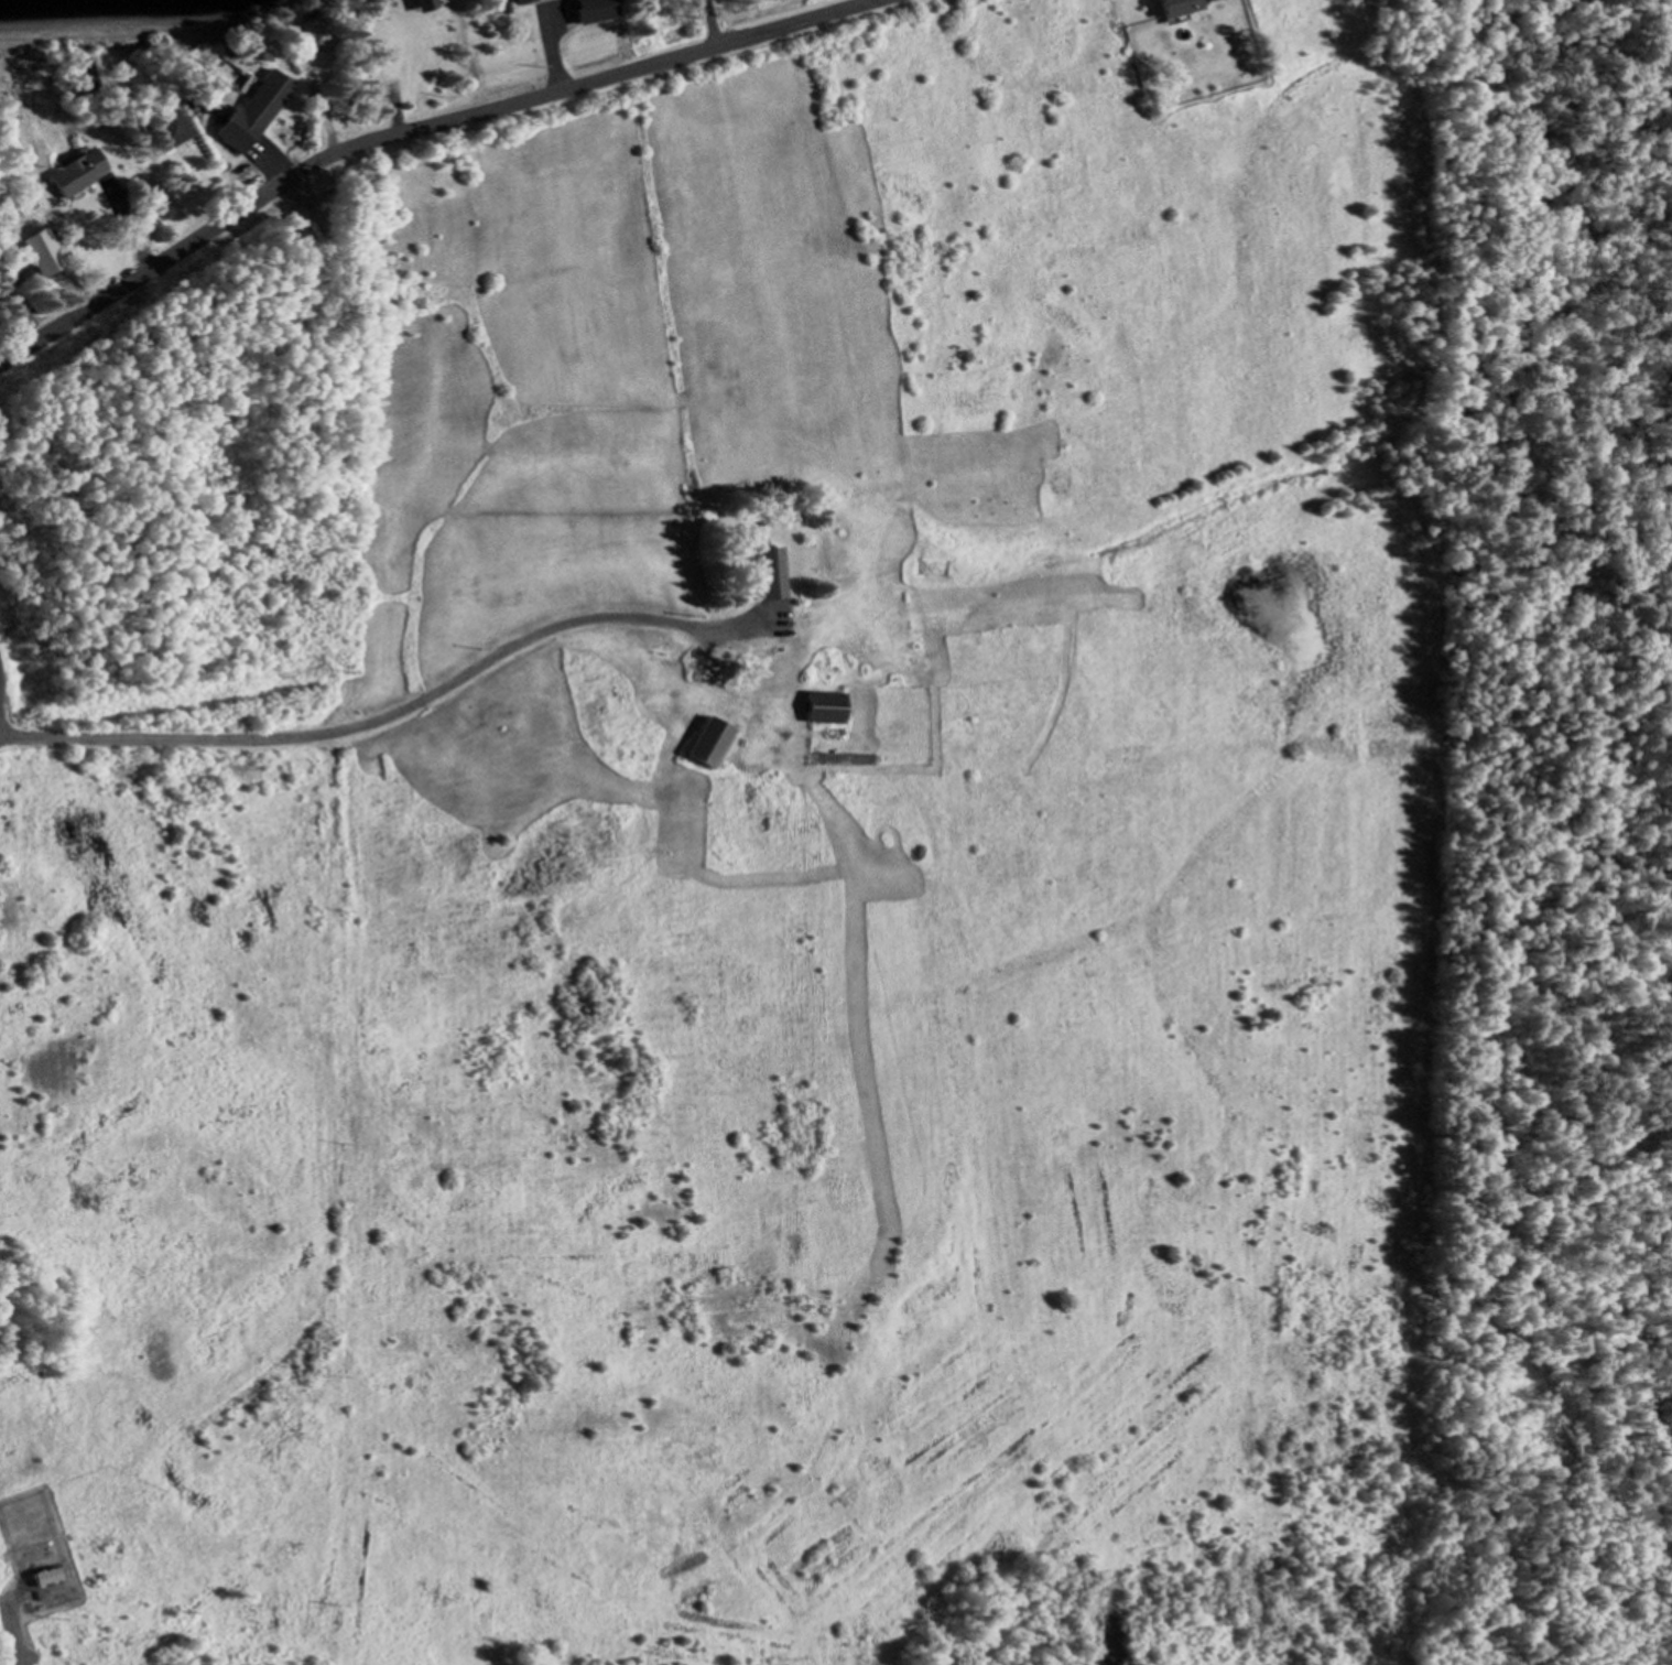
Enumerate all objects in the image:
building: (517, 1)
building: (417, 4)
building: (1175, 7)
building: (591, 10)
building: (313, 31)
building: (82, 77)
building: (250, 108)
building: (166, 128)
road: (411, 131)
building: (73, 170)
building: (31, 251)
building: (41, 267)
building: (772, 571)
building: (824, 706)
road: (394, 711)
building: (709, 739)
building: (37, 1552)
building: (48, 1577)
road: (6, 1622)

